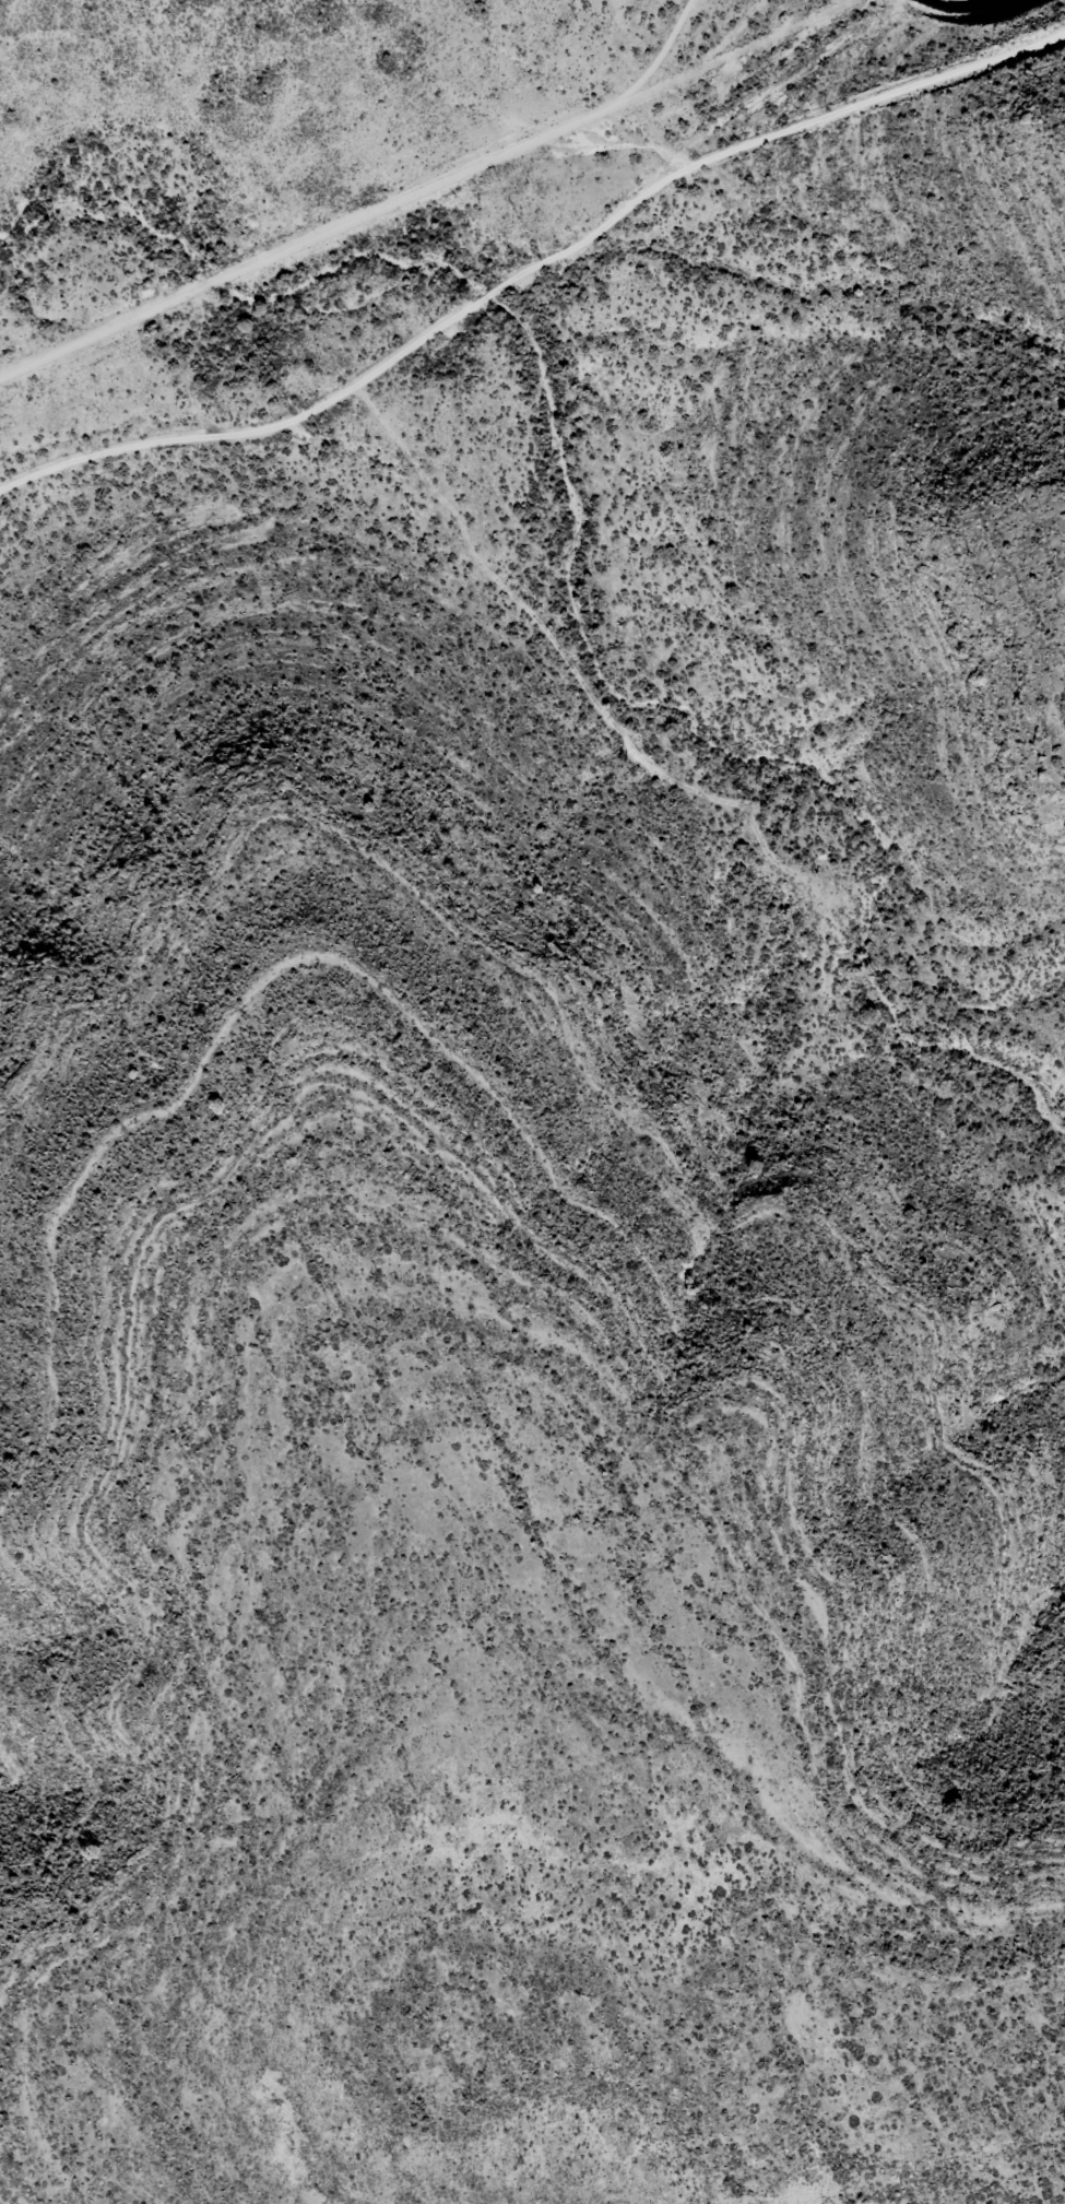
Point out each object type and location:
road: (531, 266)

